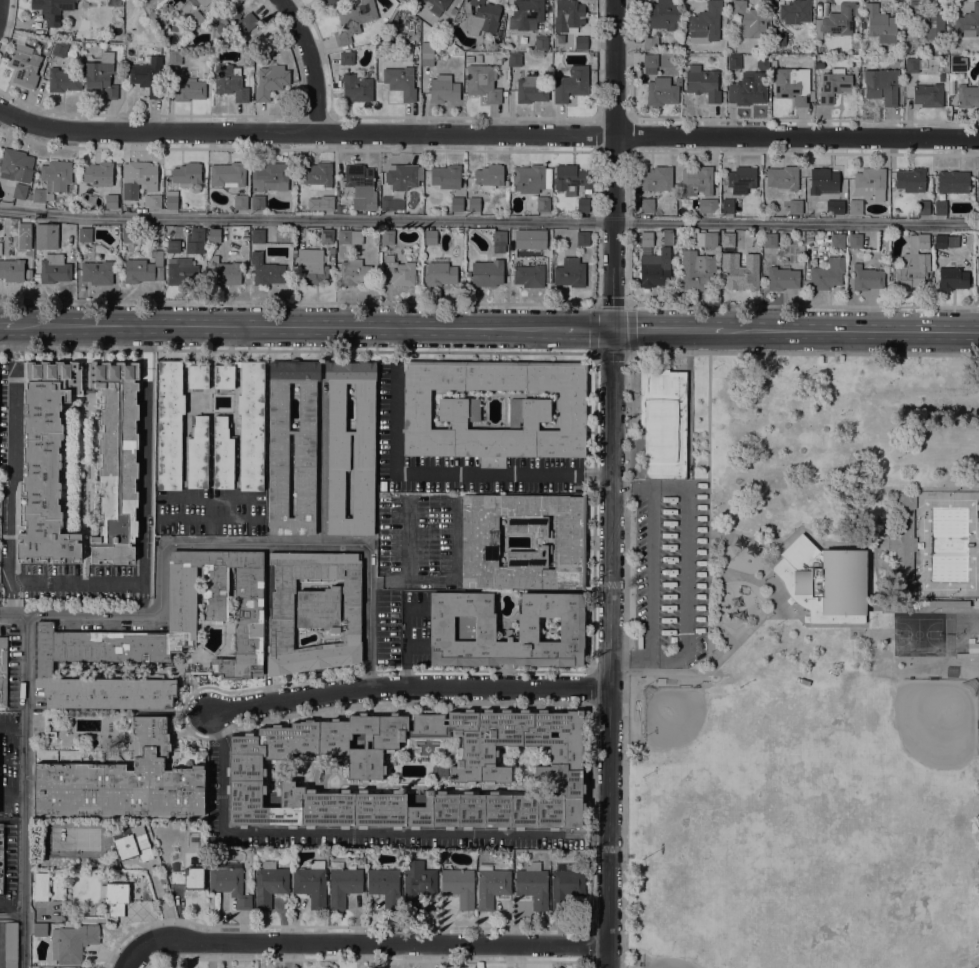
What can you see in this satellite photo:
building: (424, 0)
building: (203, 2)
building: (329, 2)
building: (438, 6)
building: (52, 10)
building: (452, 10)
building: (795, 11)
building: (525, 14)
building: (659, 14)
building: (568, 15)
building: (482, 18)
building: (927, 19)
building: (193, 20)
building: (232, 20)
building: (353, 20)
building: (749, 20)
building: (836, 21)
building: (968, 21)
building: (706, 23)
building: (861, 24)
building: (880, 24)
building: (778, 39)
building: (540, 42)
building: (650, 42)
building: (580, 43)
building: (59, 49)
building: (427, 54)
building: (174, 57)
building: (346, 58)
building: (469, 59)
building: (514, 59)
building: (248, 60)
building: (459, 60)
building: (734, 61)
road: (310, 62)
building: (25, 63)
building: (650, 63)
building: (956, 64)
building: (911, 65)
building: (364, 72)
building: (101, 75)
building: (148, 76)
building: (816, 76)
building: (941, 77)
building: (63, 80)
building: (270, 81)
building: (230, 82)
building: (400, 82)
building: (702, 82)
building: (482, 83)
building: (570, 84)
building: (791, 84)
building: (833, 85)
building: (881, 85)
building: (356, 87)
building: (188, 89)
building: (443, 89)
building: (531, 89)
building: (748, 89)
building: (662, 91)
building: (928, 95)
building: (967, 95)
road: (487, 133)
building: (15, 165)
building: (98, 173)
building: (187, 174)
building: (229, 174)
building: (316, 175)
building: (402, 176)
building: (446, 176)
building: (489, 176)
building: (270, 177)
building: (782, 177)
building: (138, 178)
building: (531, 178)
building: (572, 179)
building: (654, 179)
building: (741, 179)
building: (52, 180)
building: (910, 180)
building: (696, 181)
building: (823, 181)
building: (952, 182)
building: (869, 183)
building: (360, 186)
building: (977, 188)
building: (19, 191)
building: (171, 200)
building: (111, 201)
building: (152, 201)
building: (240, 202)
building: (257, 202)
building: (5, 203)
building: (321, 203)
building: (391, 203)
building: (457, 204)
building: (473, 204)
building: (542, 204)
building: (582, 204)
building: (647, 205)
building: (707, 206)
building: (727, 206)
building: (793, 206)
building: (835, 206)
building: (855, 207)
building: (923, 207)
building: (939, 207)
building: (339, 209)
road: (489, 220)
building: (24, 229)
building: (41, 231)
building: (315, 232)
building: (84, 235)
building: (128, 235)
building: (213, 235)
building: (257, 236)
building: (326, 236)
building: (349, 237)
building: (387, 237)
building: (430, 237)
building: (516, 238)
building: (646, 238)
building: (582, 239)
building: (706, 239)
building: (726, 239)
building: (769, 240)
building: (837, 240)
building: (195, 241)
building: (499, 241)
building: (855, 241)
building: (918, 241)
building: (945, 241)
building: (172, 245)
building: (645, 250)
building: (978, 253)
building: (226, 254)
building: (977, 264)
building: (310, 267)
building: (143, 268)
building: (54, 269)
building: (265, 269)
building: (654, 269)
building: (11, 270)
building: (696, 270)
building: (225, 271)
building: (740, 271)
building: (911, 271)
building: (181, 272)
building: (354, 272)
building: (399, 272)
building: (440, 272)
building: (569, 272)
building: (97, 273)
building: (486, 273)
building: (827, 274)
building: (529, 276)
building: (782, 278)
building: (866, 278)
building: (952, 278)
road: (7, 325)
road: (289, 328)
road: (587, 329)
traffic signals: (611, 329)
road: (666, 330)
road: (851, 331)
road: (687, 398)
building: (458, 410)
building: (663, 423)
building: (180, 428)
building: (240, 429)
building: (304, 451)
building: (363, 452)
building: (46, 460)
building: (116, 461)
road: (452, 474)
road: (611, 483)
road: (631, 487)
road: (902, 489)
road: (708, 521)
parking lot: (419, 541)
road: (224, 542)
building: (480, 542)
building: (903, 543)
road: (650, 572)
parking lot: (666, 572)
road: (686, 572)
road: (735, 574)
road: (881, 576)
building: (824, 581)
road: (68, 582)
road: (8, 597)
road: (142, 599)
building: (948, 604)
building: (313, 611)
road: (865, 611)
building: (462, 626)
parking lot: (402, 628)
park: (922, 631)
building: (160, 636)
road: (408, 639)
road: (713, 649)
road: (727, 649)
building: (969, 650)
road: (629, 657)
park: (803, 662)
building: (2, 671)
road: (408, 688)
road: (1, 725)
building: (50, 739)
building: (93, 741)
building: (442, 769)
building: (479, 771)
building: (122, 777)
parking lot: (217, 779)
road: (23, 792)
park: (802, 820)
road: (356, 833)
building: (132, 843)
building: (566, 856)
building: (1, 859)
building: (108, 863)
building: (188, 878)
building: (229, 882)
building: (269, 883)
building: (311, 883)
building: (417, 883)
building: (342, 884)
building: (491, 885)
building: (533, 885)
building: (565, 885)
building: (385, 886)
building: (459, 886)
building: (40, 887)
building: (114, 897)
building: (90, 919)
building: (40, 929)
building: (72, 943)
road: (367, 944)
building: (10, 945)
road: (126, 955)

